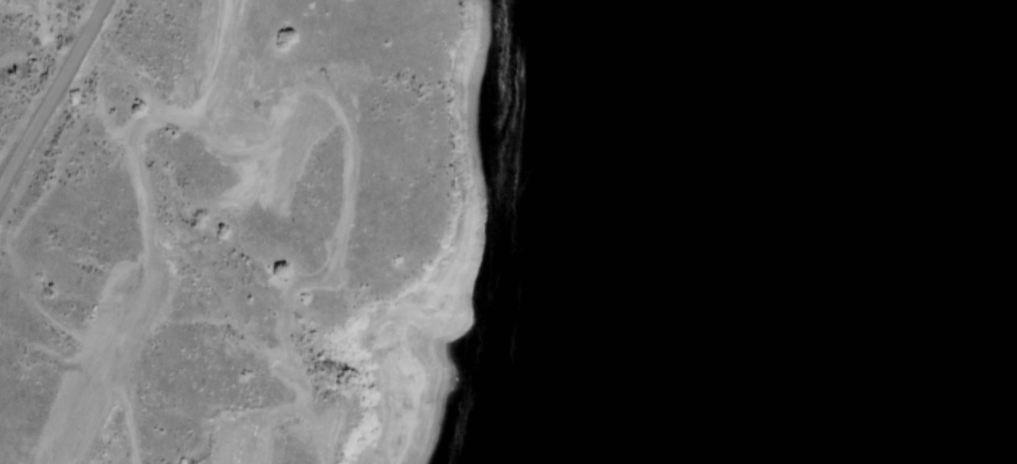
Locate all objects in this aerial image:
road: (55, 103)

